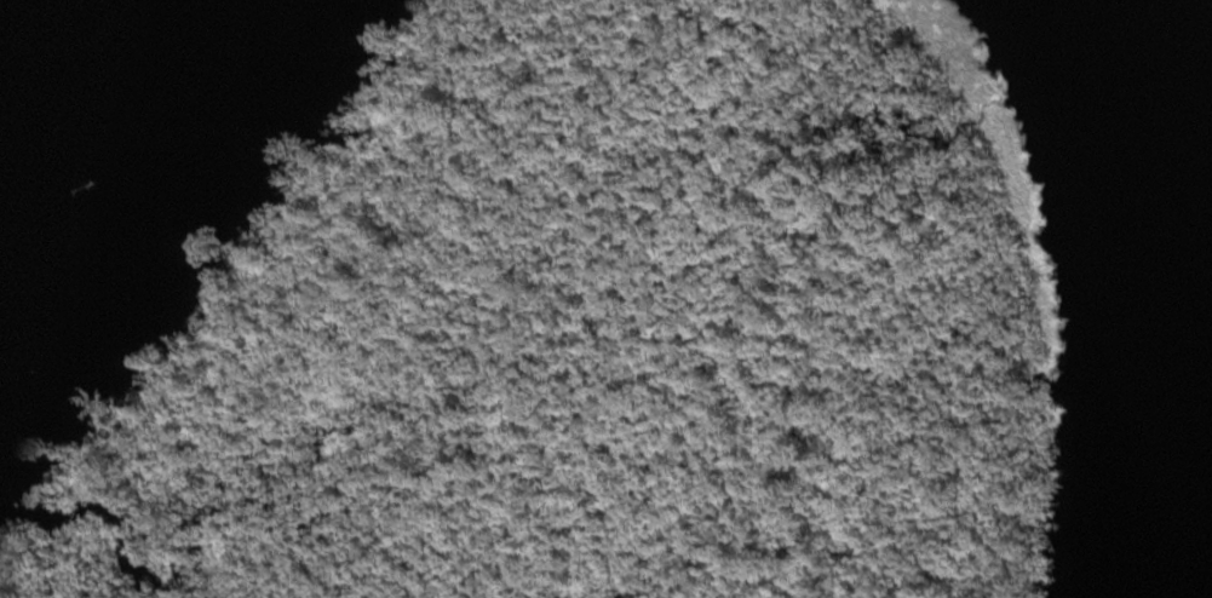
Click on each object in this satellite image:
river: (86, 97)
river: (1174, 157)
river: (4, 194)

